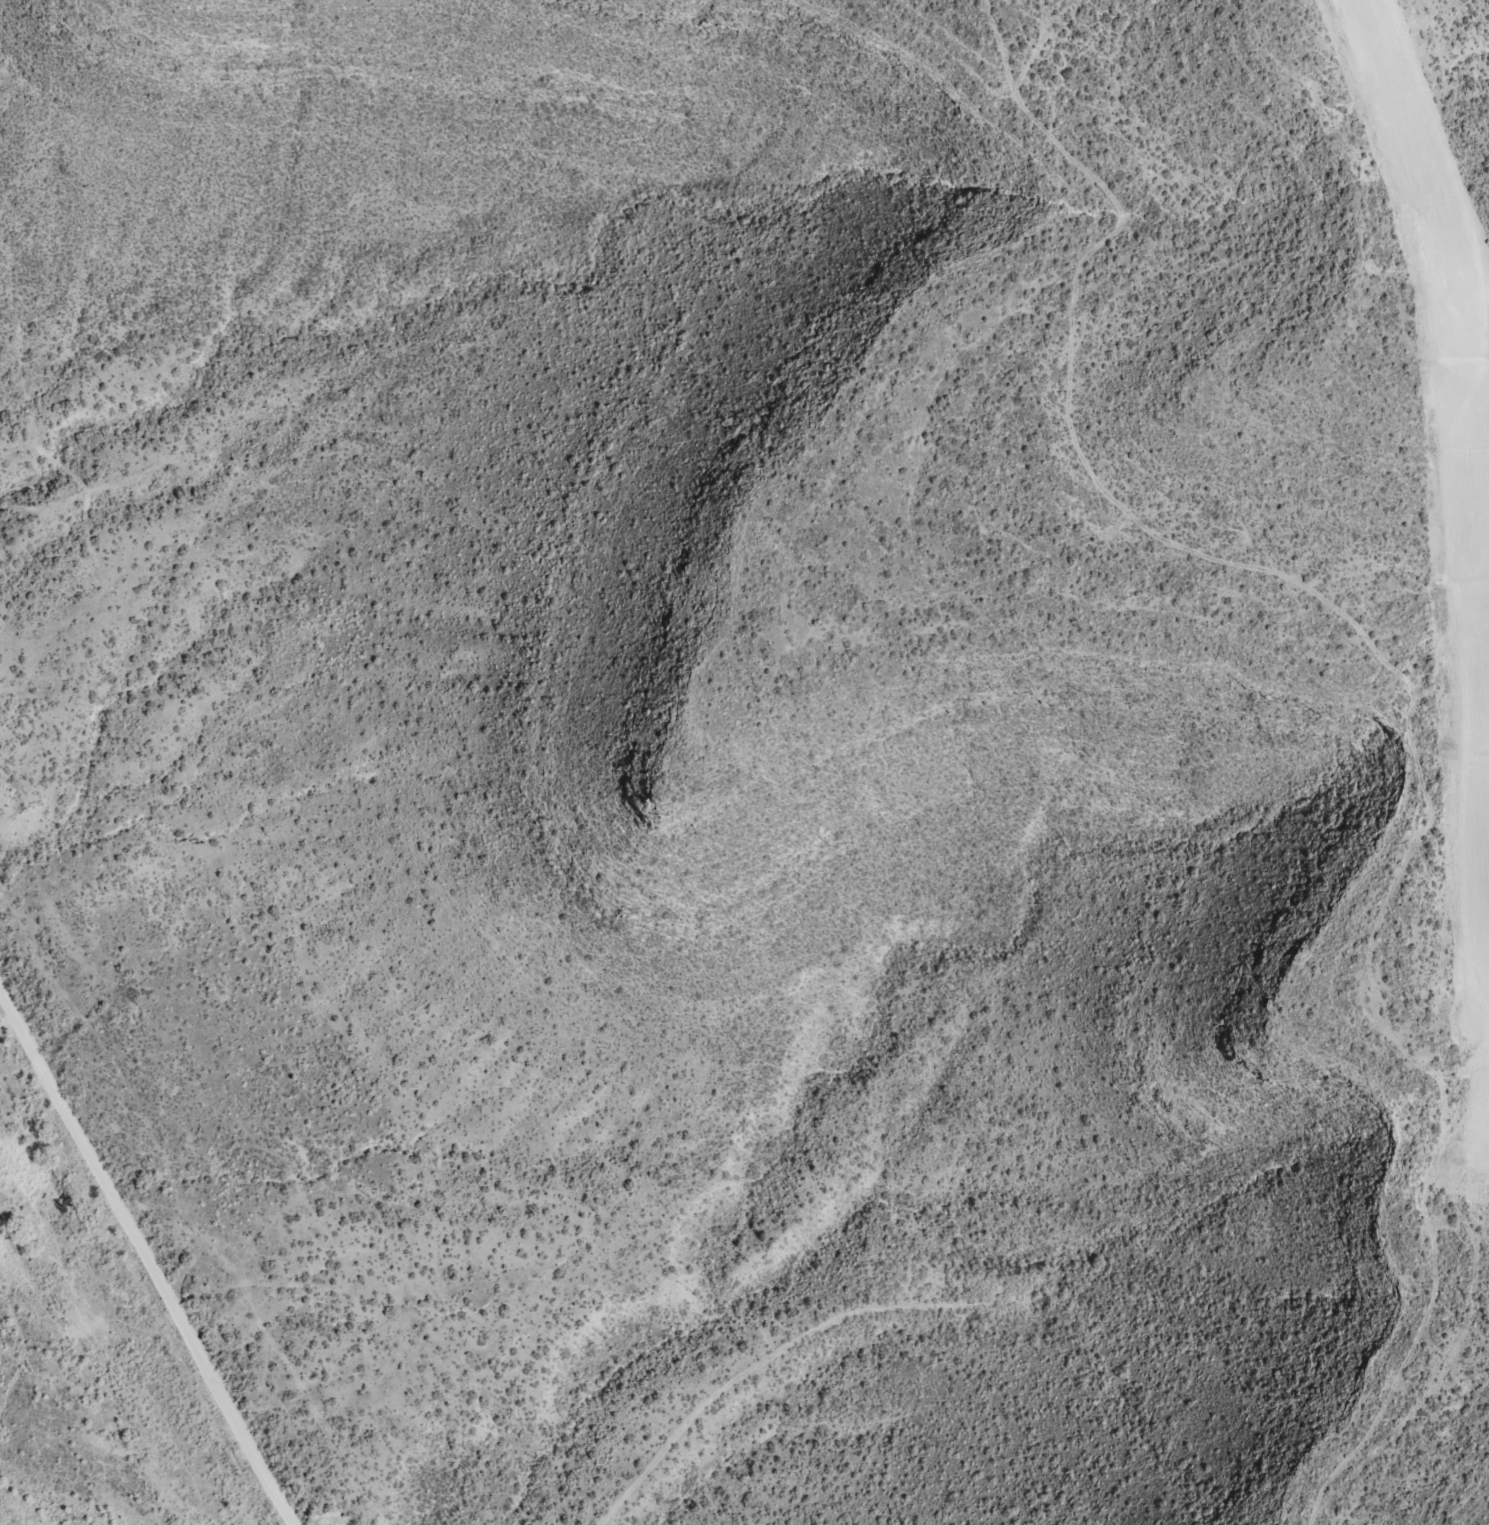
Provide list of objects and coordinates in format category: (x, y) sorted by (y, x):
road: (145, 1273)

